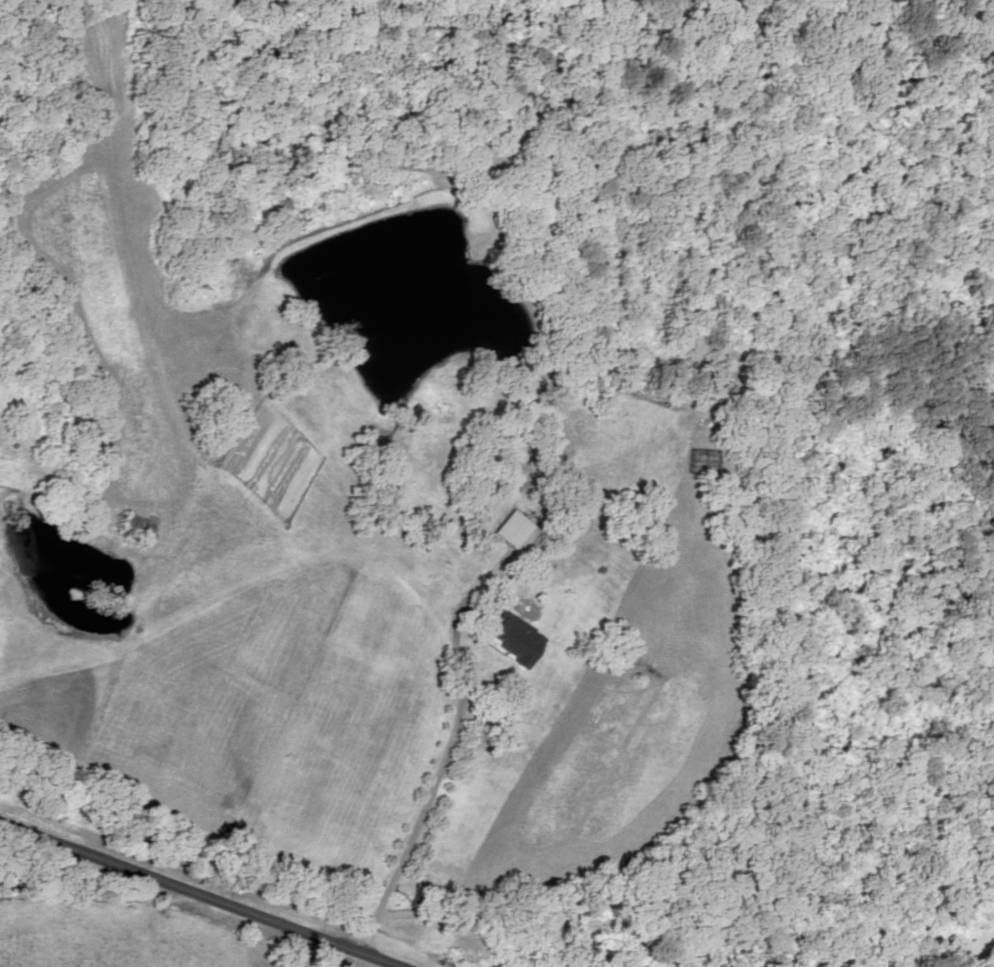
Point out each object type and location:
road: (593, 267)
building: (686, 313)
building: (519, 537)
building: (514, 638)
road: (773, 652)
road: (431, 776)
road: (200, 894)

